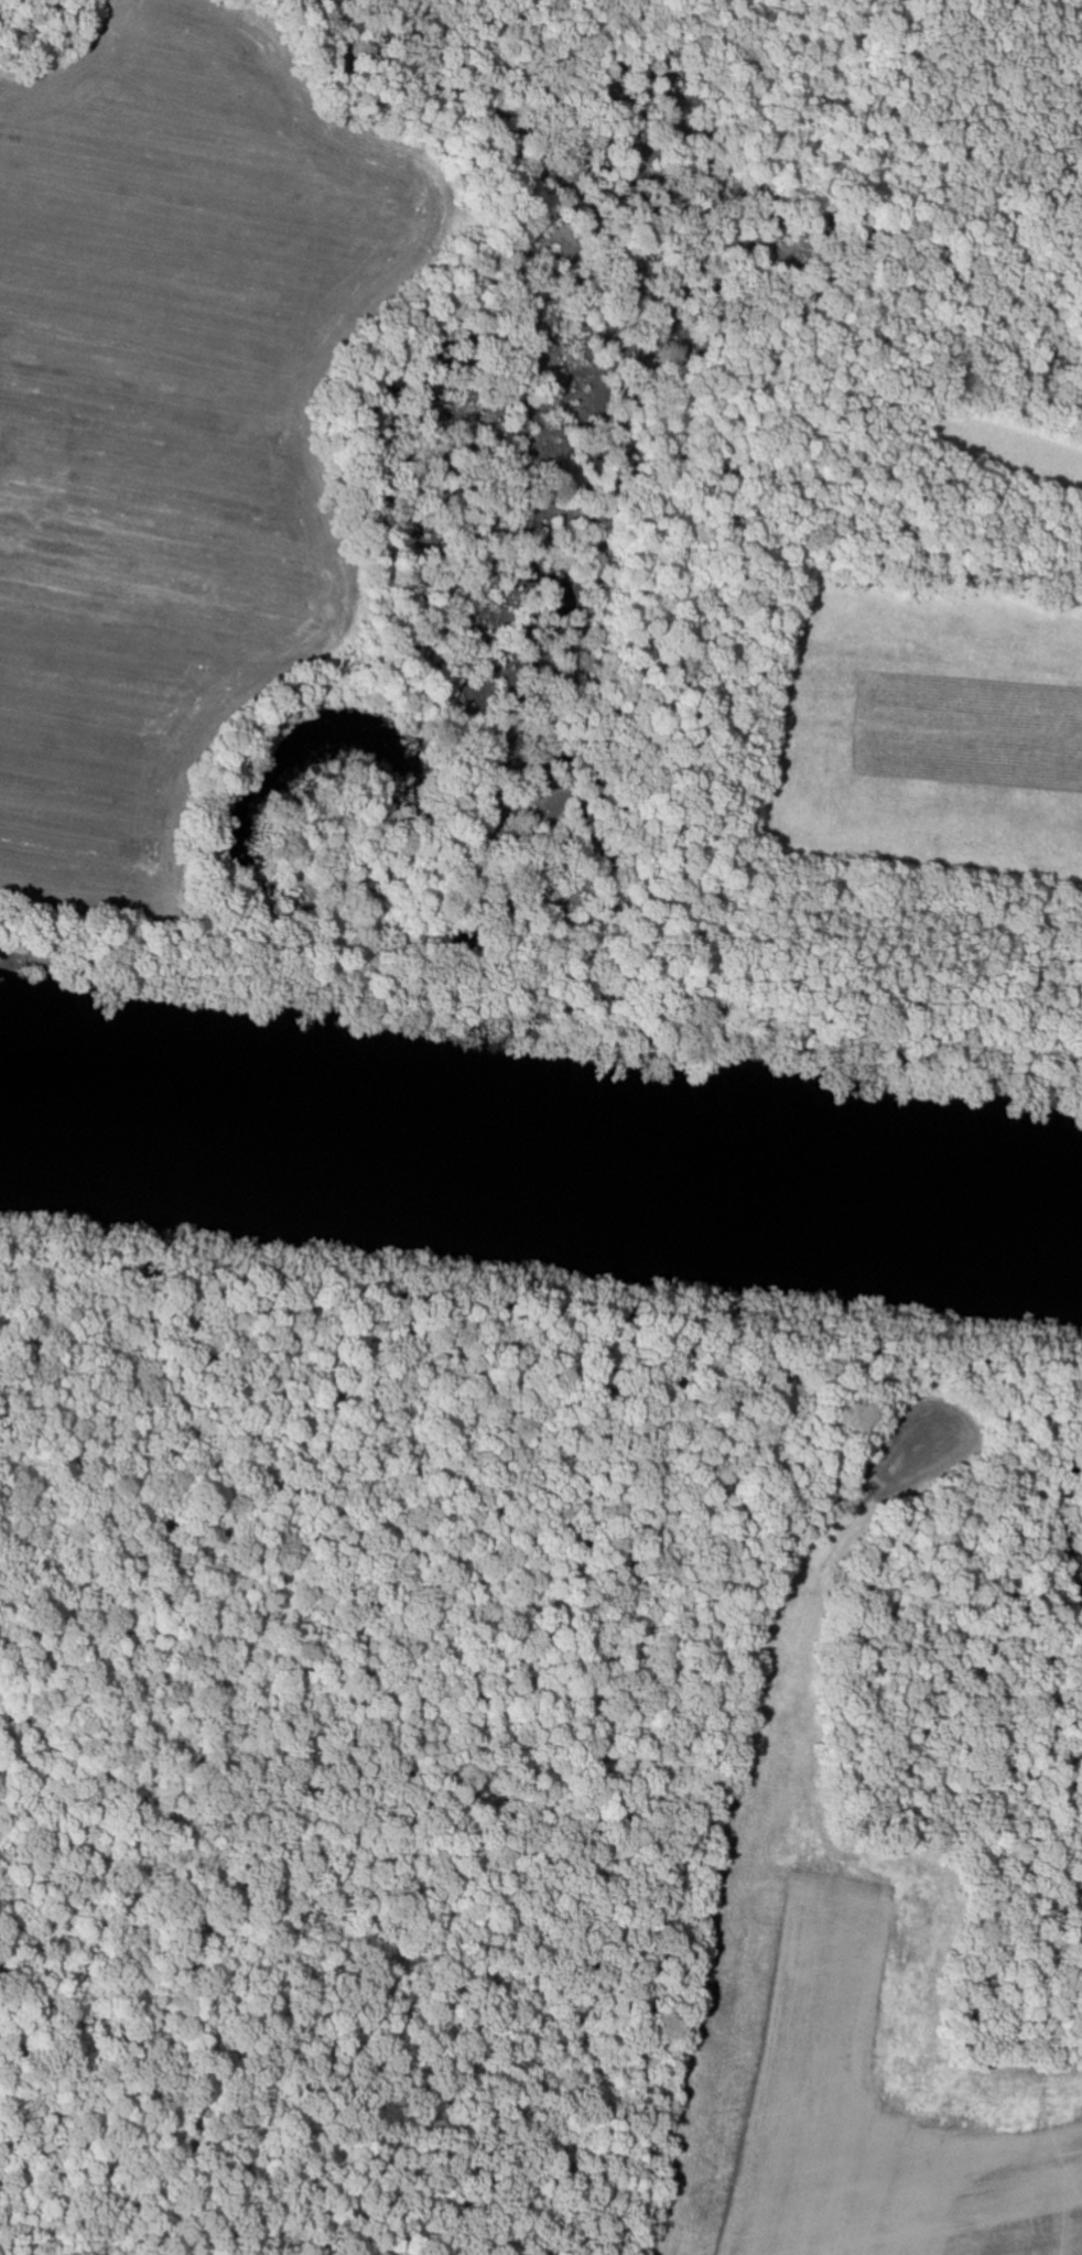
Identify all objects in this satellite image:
river: (541, 1138)

